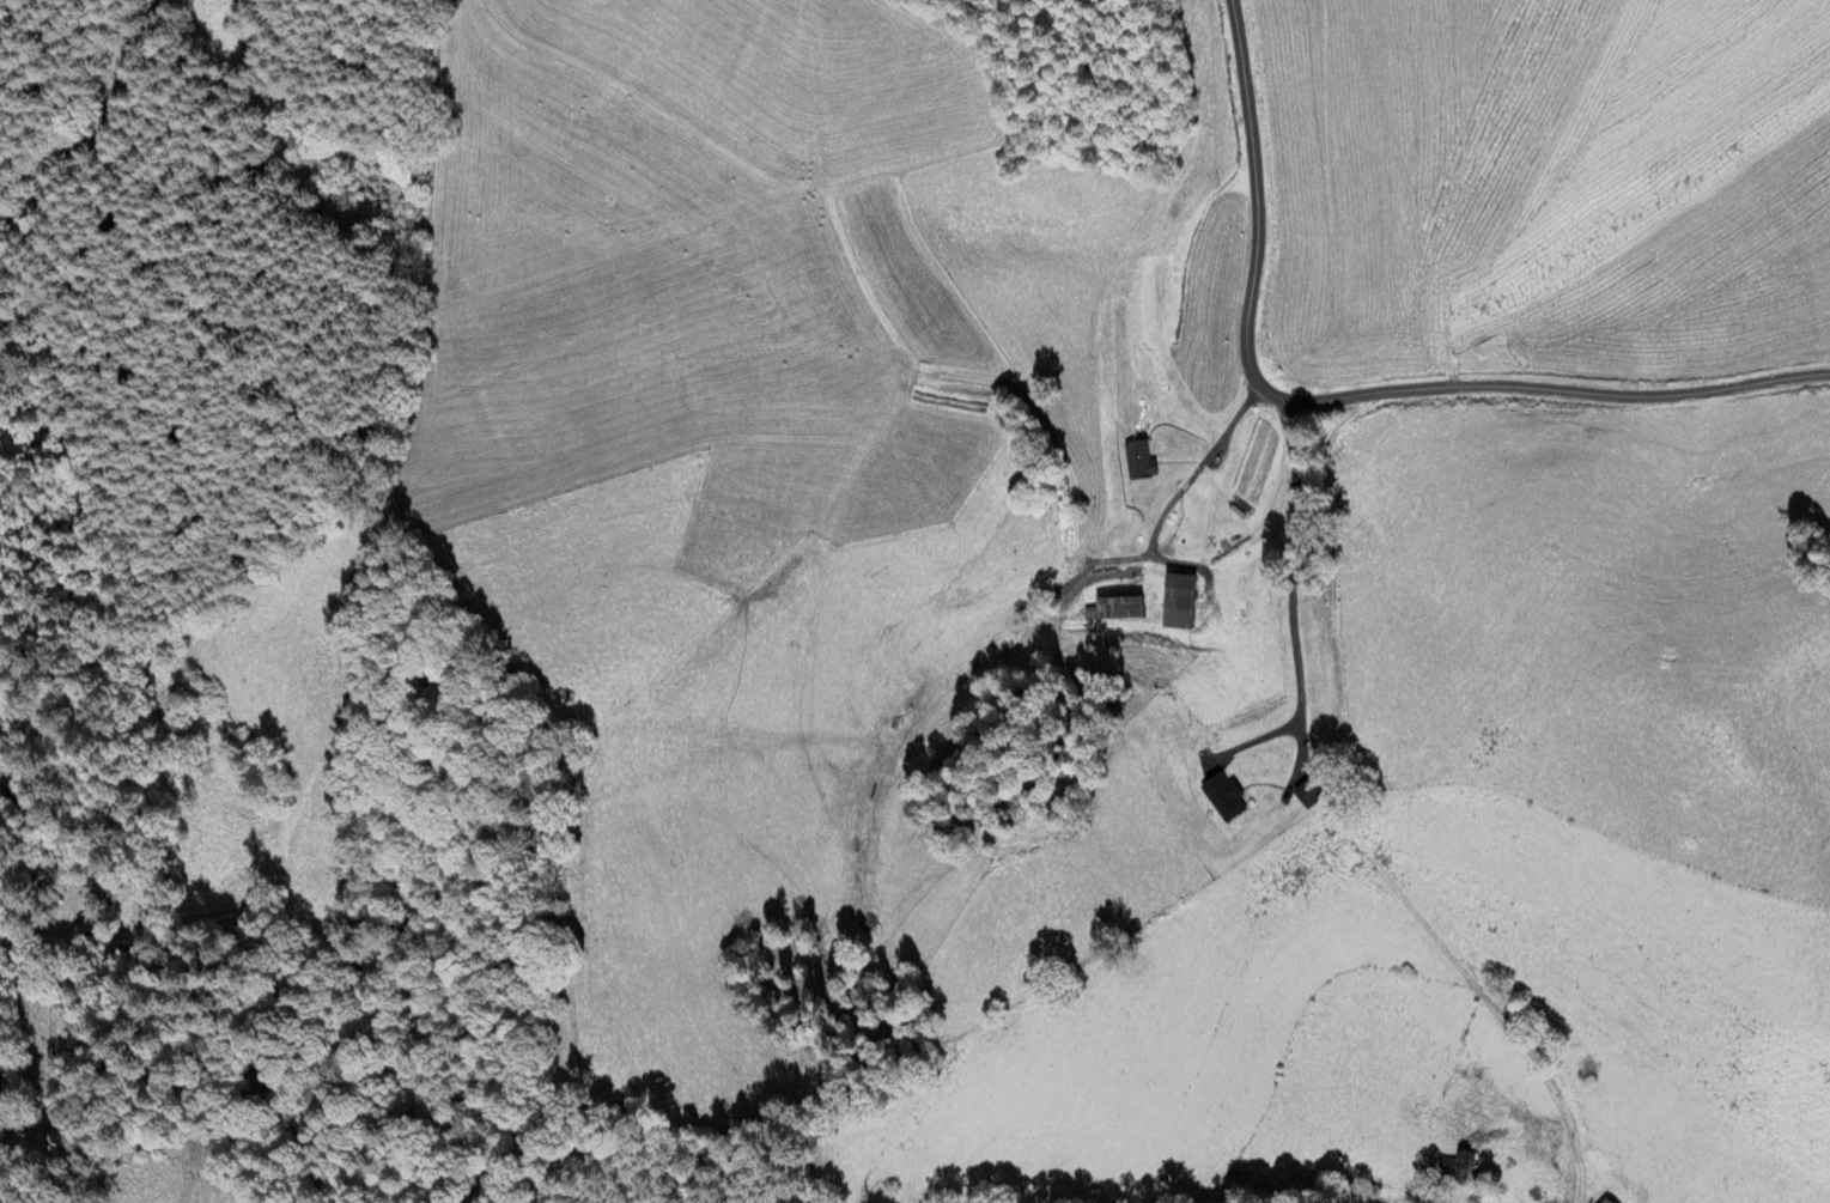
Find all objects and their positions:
road: (1345, 385)
building: (1138, 461)
road: (1291, 589)
building: (1177, 602)
building: (1118, 608)
building: (1307, 792)
building: (1222, 797)
building: (1454, 1167)

